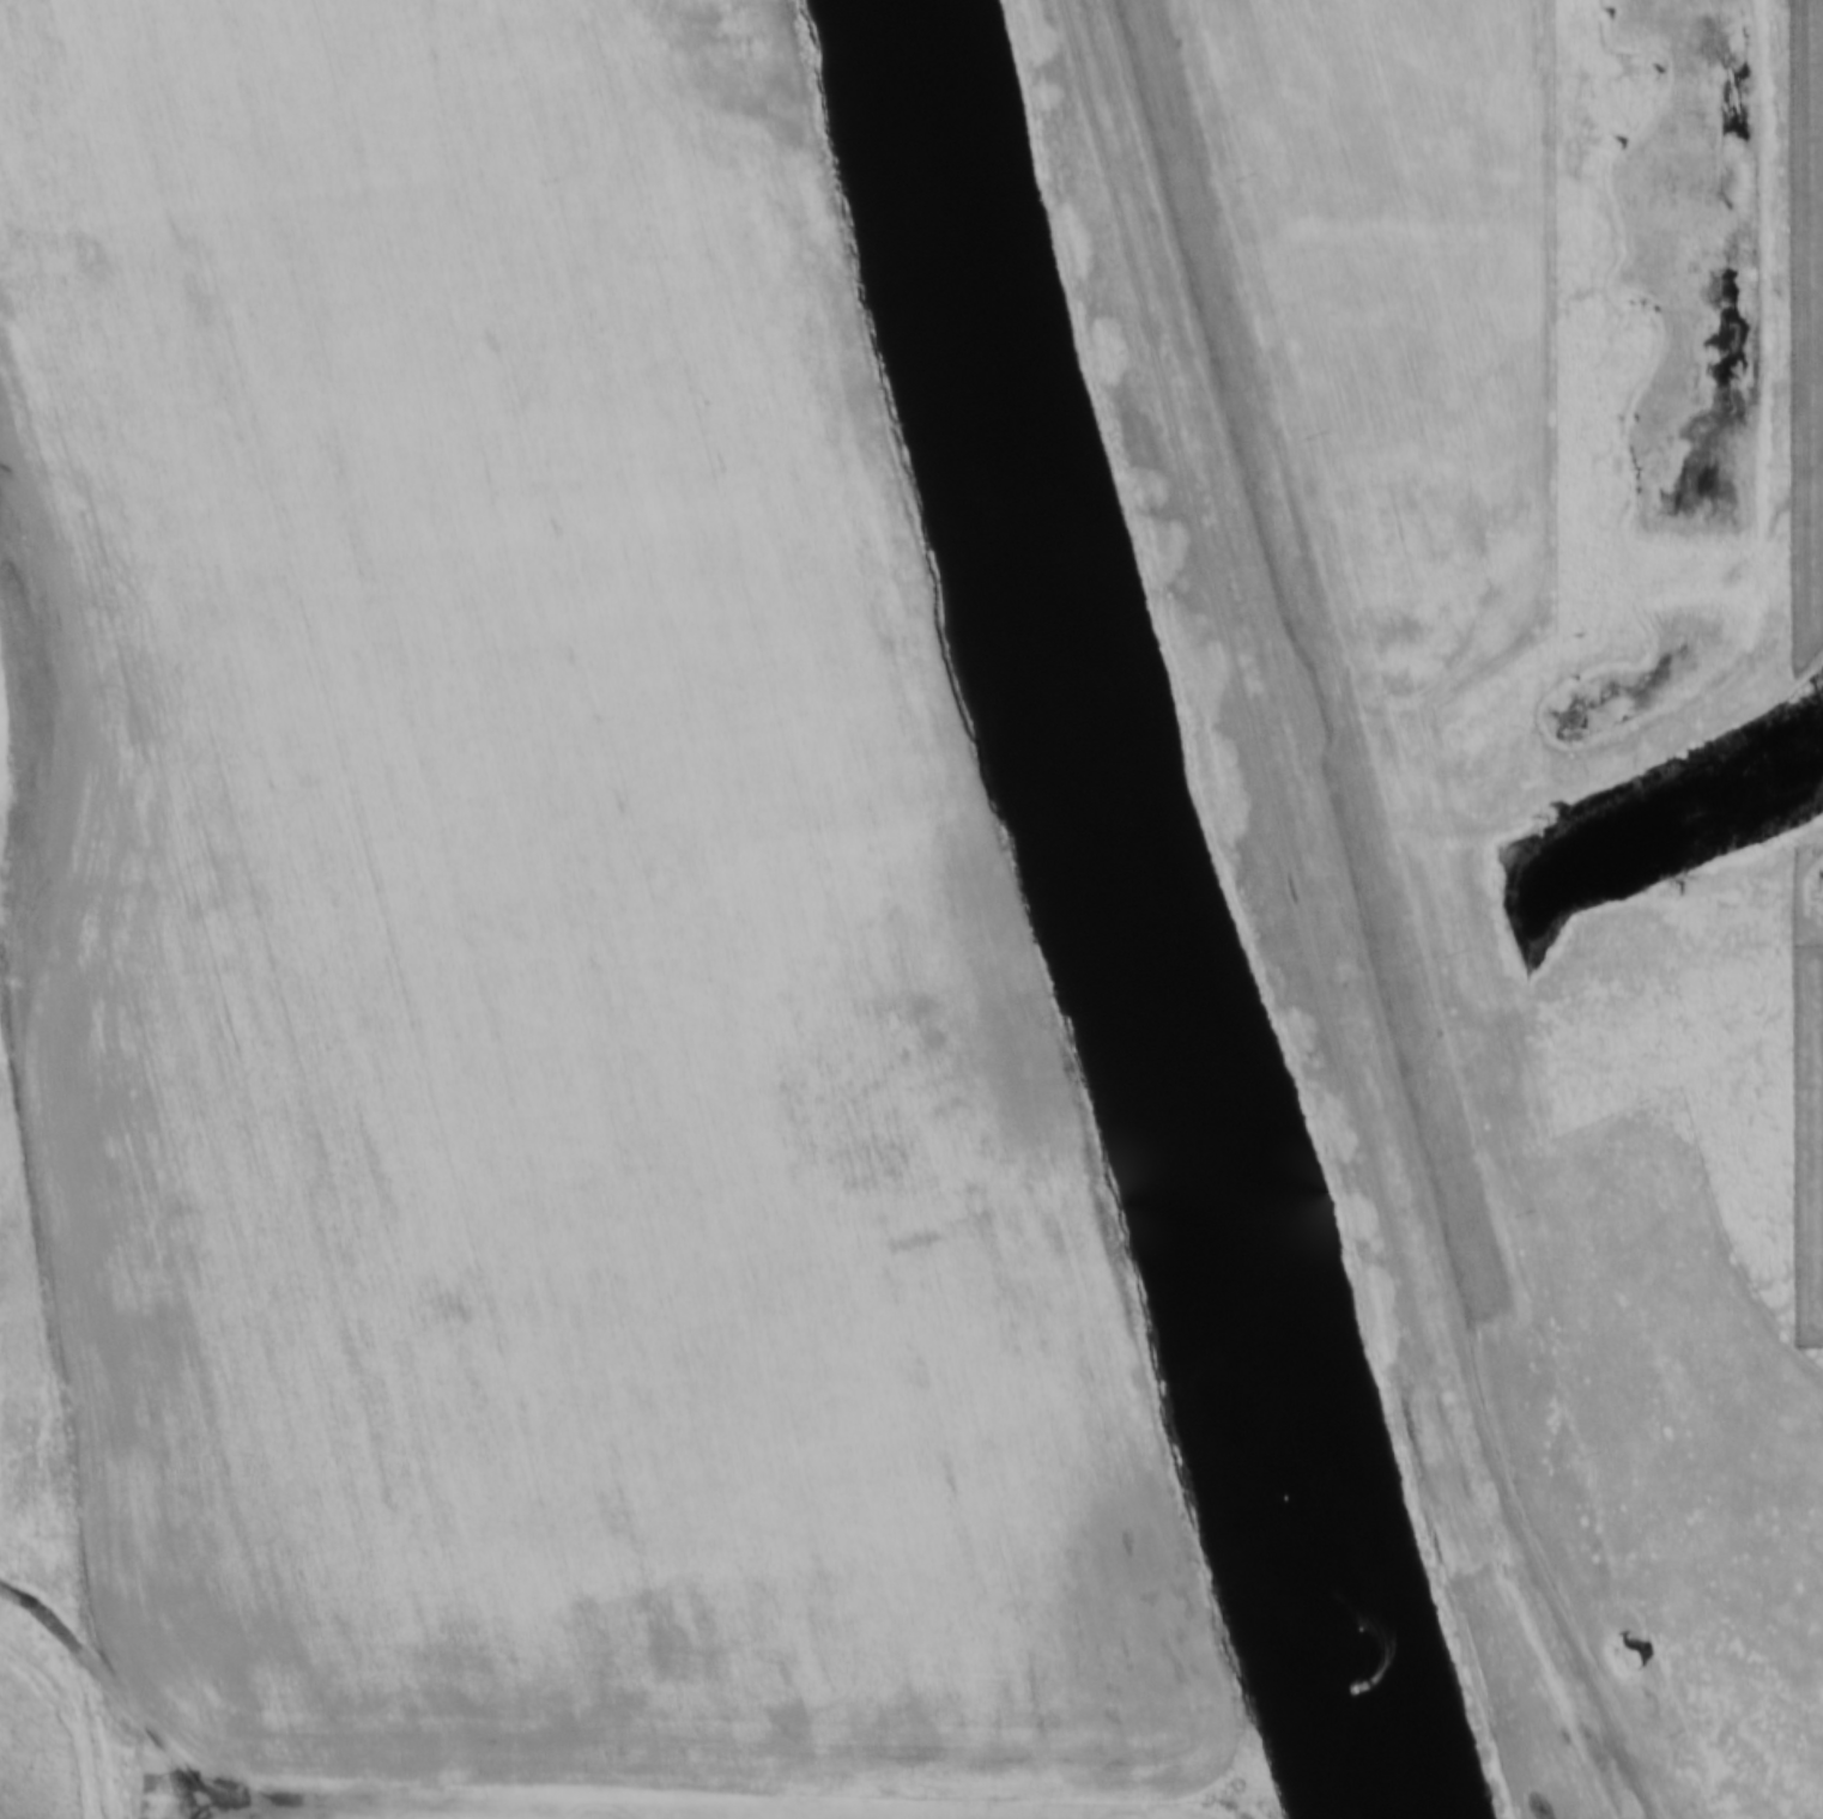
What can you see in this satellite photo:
road: (989, 887)
river: (1131, 916)
road: (92, 1668)

